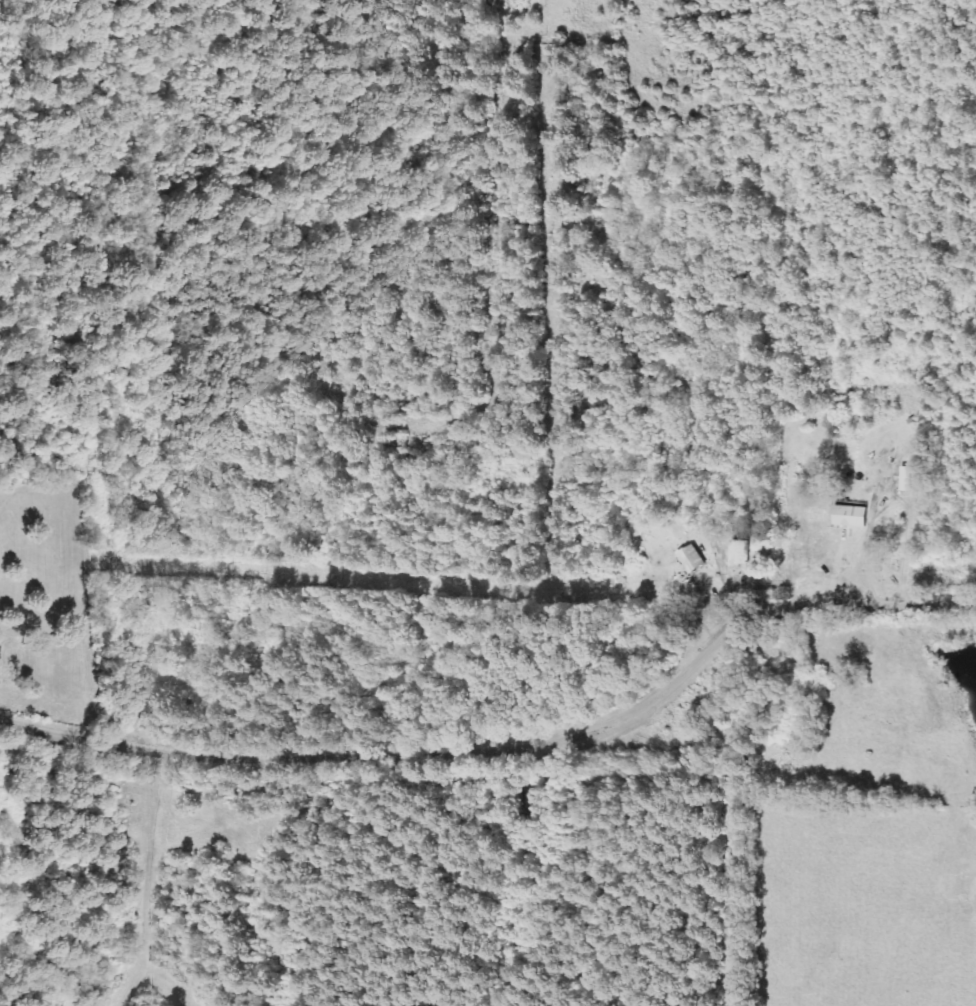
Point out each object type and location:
building: (906, 479)
building: (850, 516)
building: (888, 541)
building: (739, 553)
building: (691, 559)
road: (514, 769)

